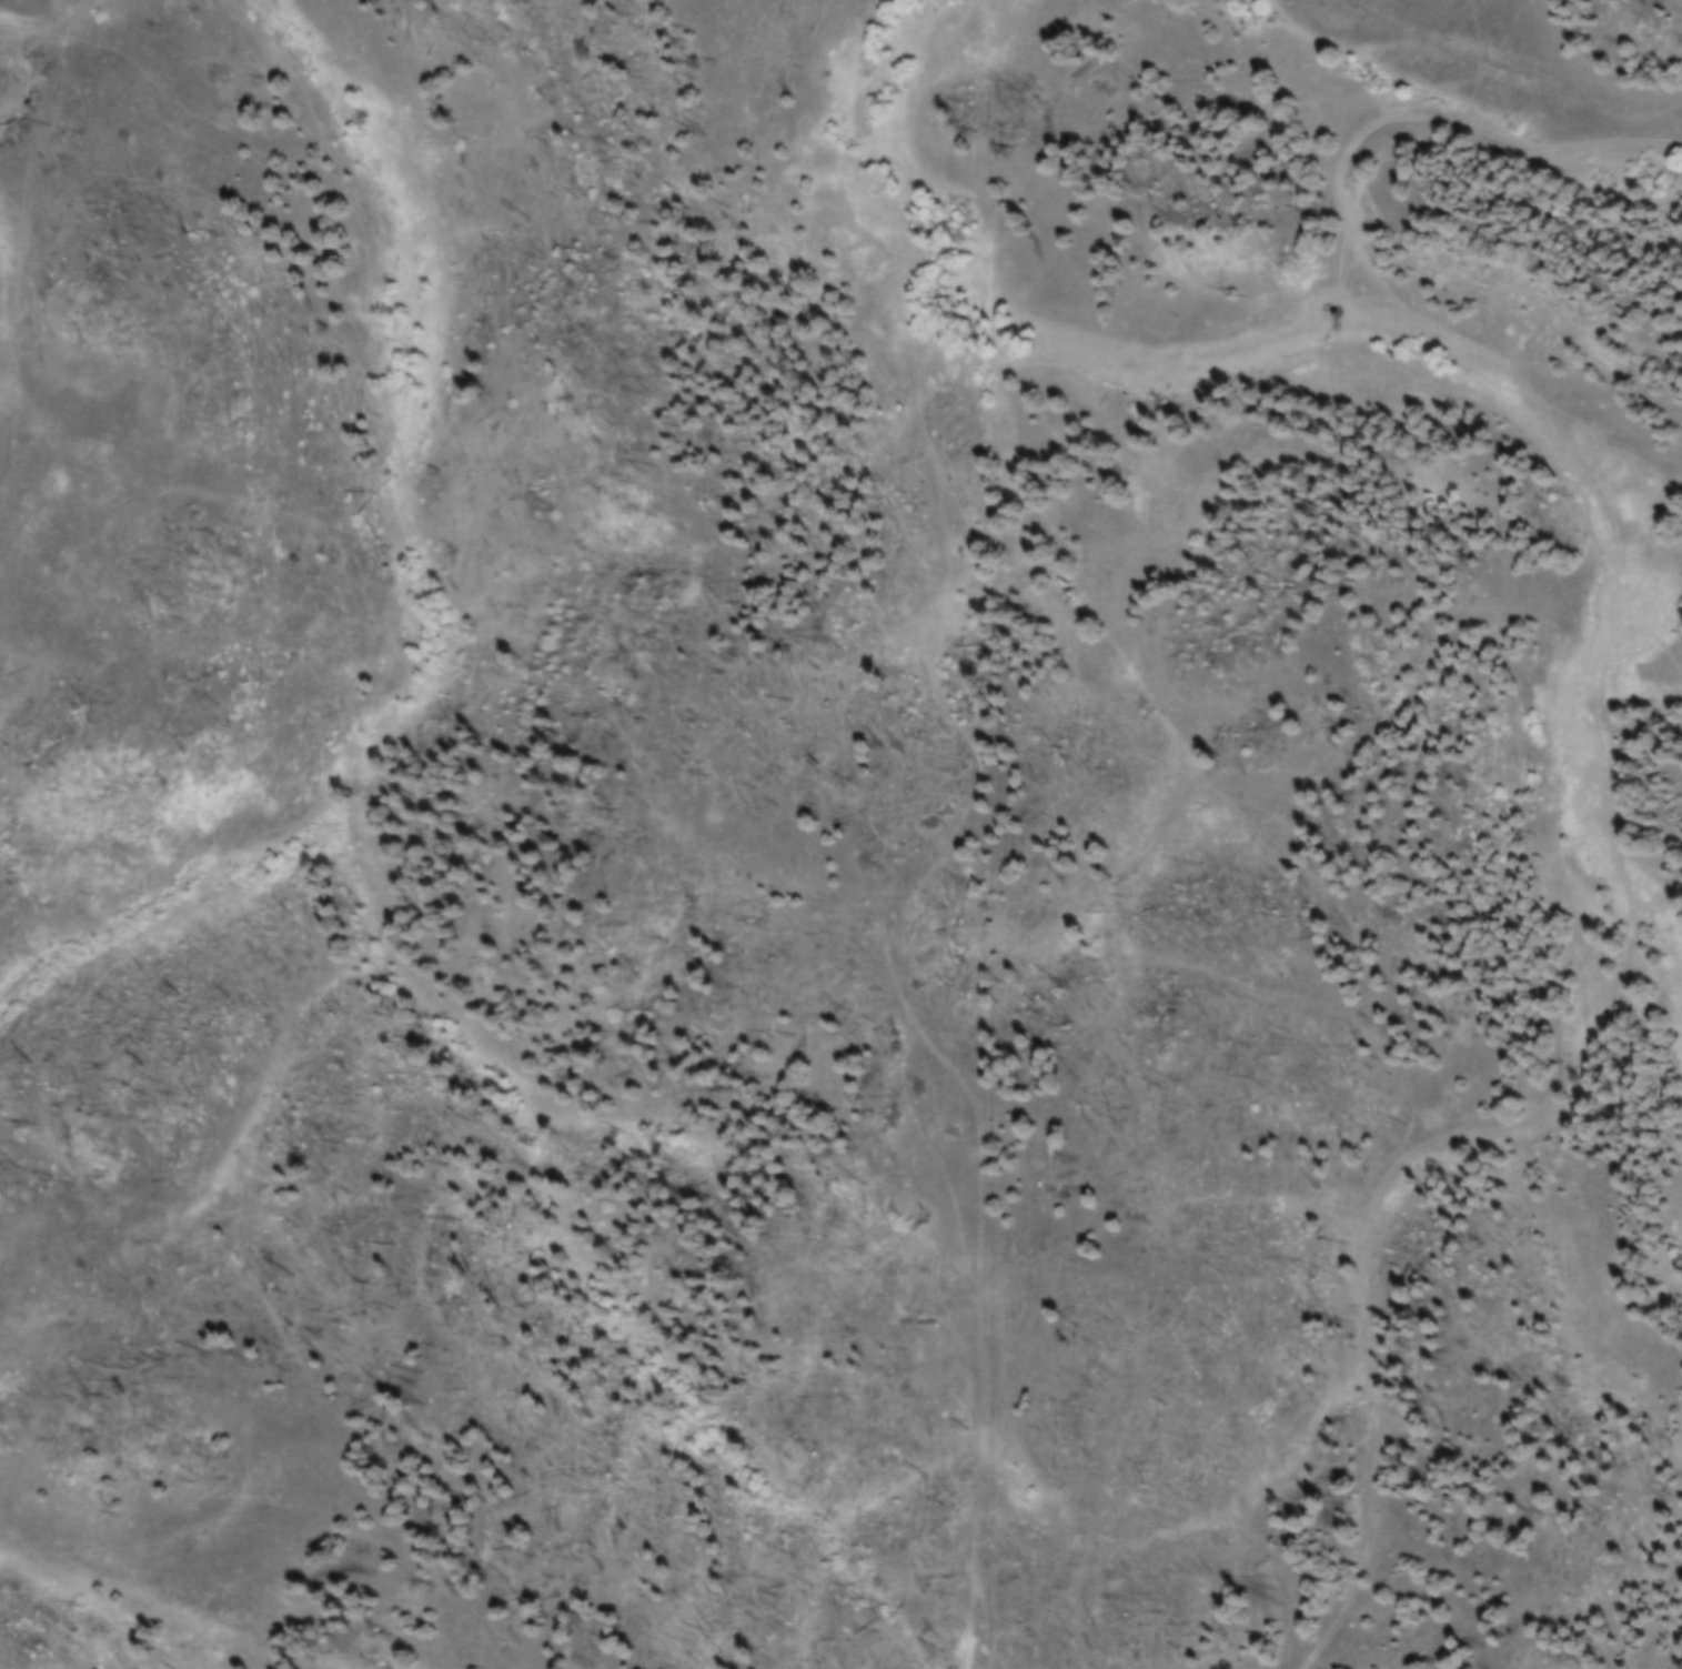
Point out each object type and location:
road: (1326, 1635)

